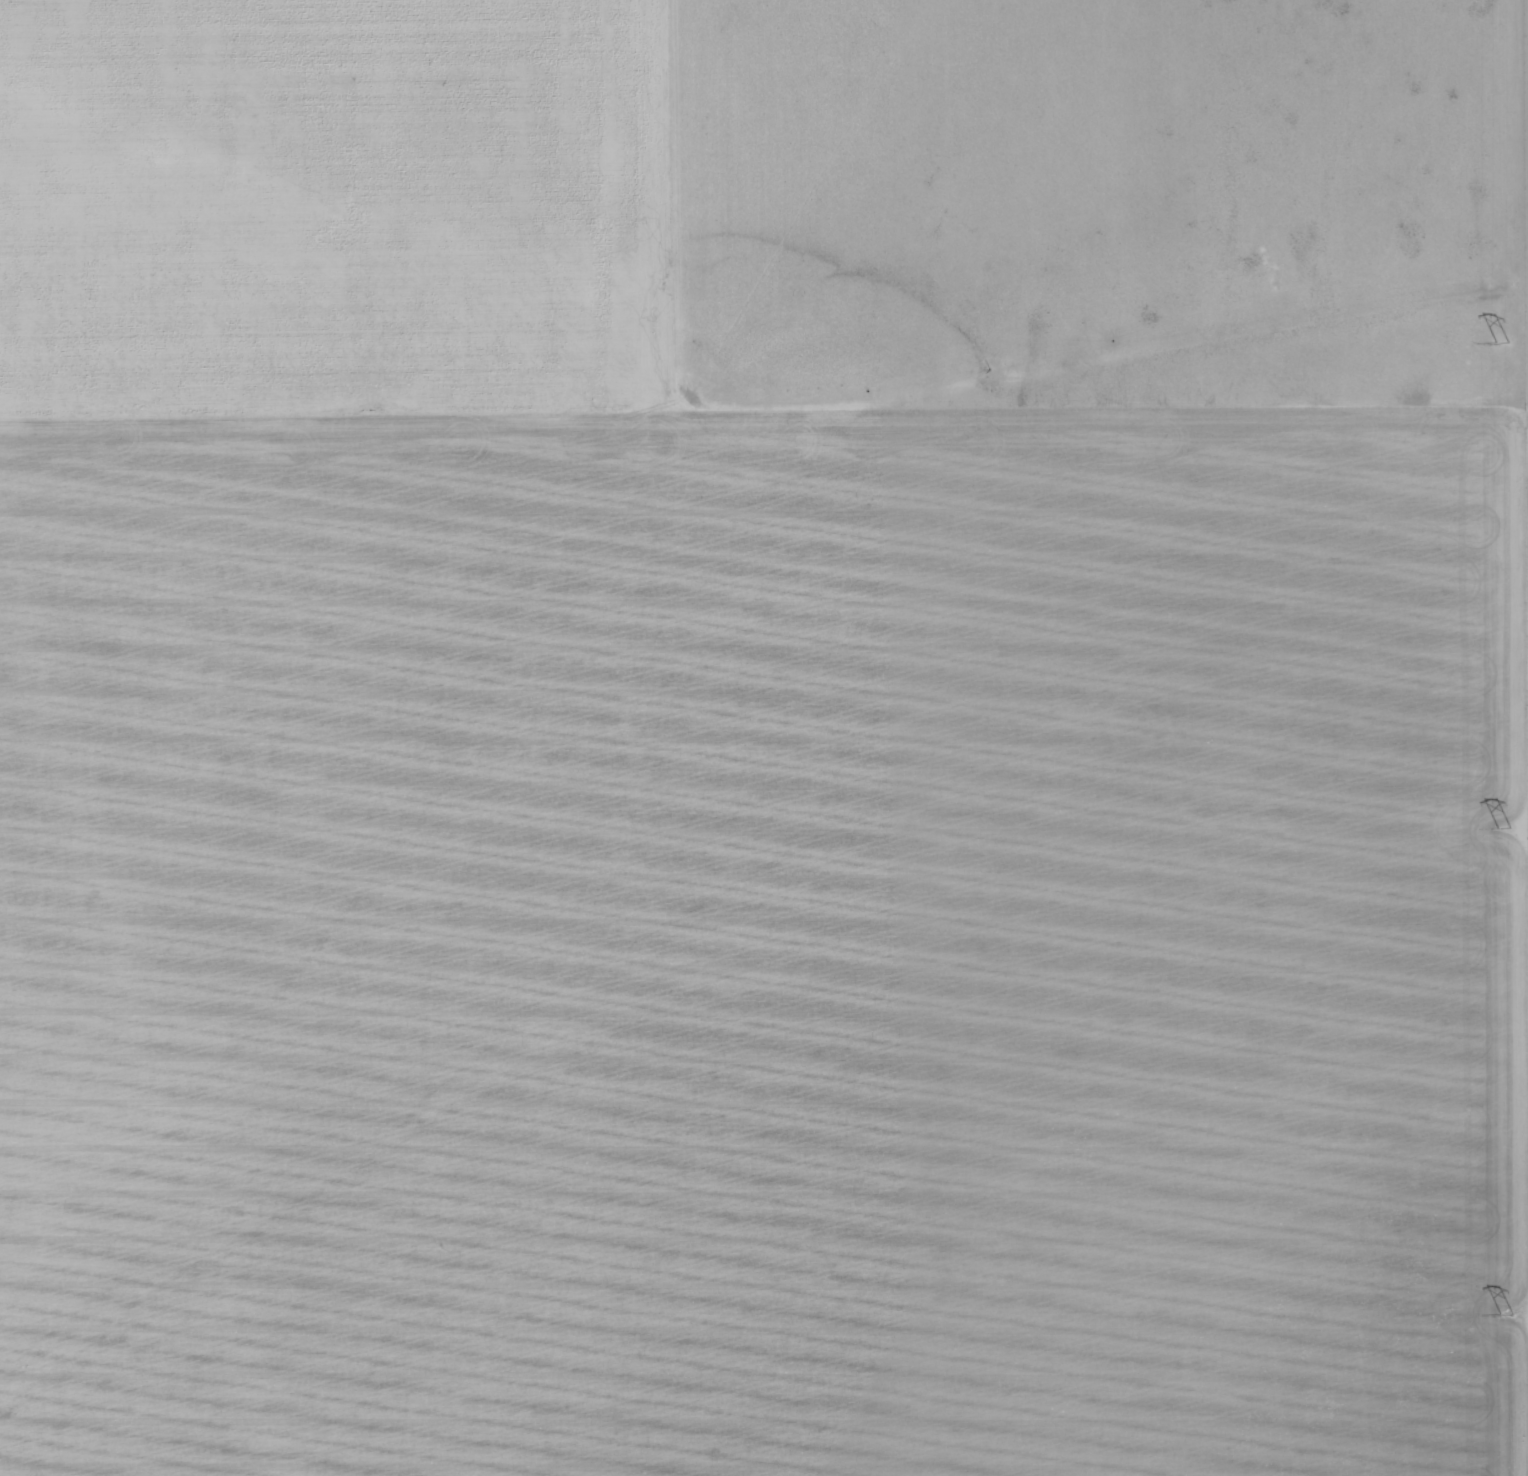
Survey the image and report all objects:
power tower: (1501, 343)
power tower: (1505, 828)
power tower: (1507, 1314)
road: (502, 1343)

